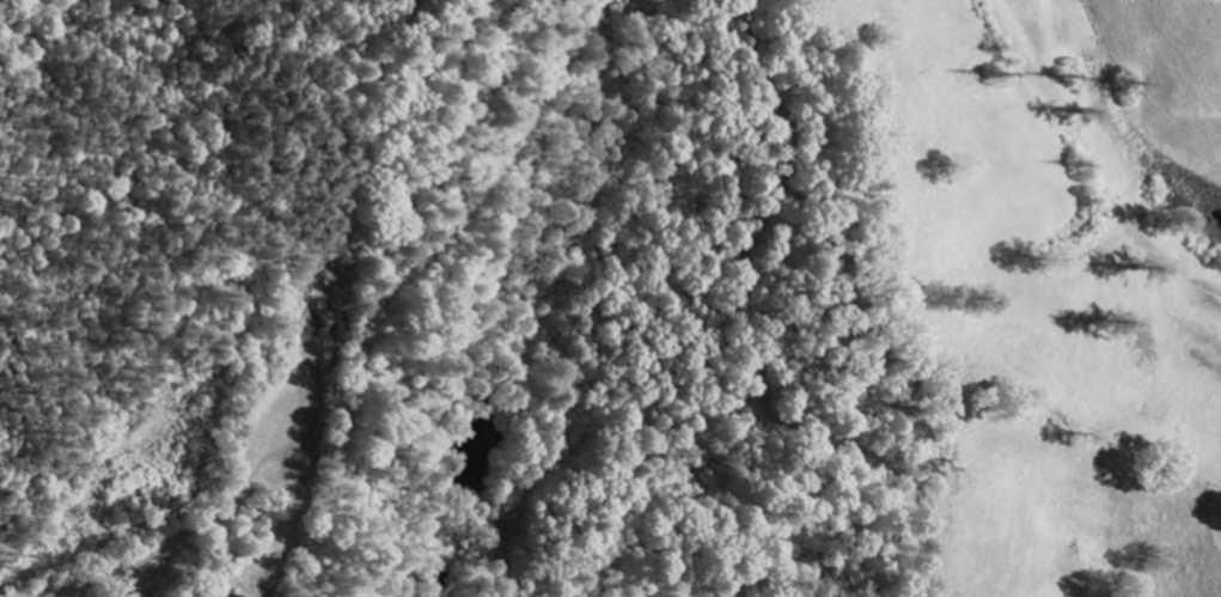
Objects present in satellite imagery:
park: (1215, 513)
building: (239, 596)

